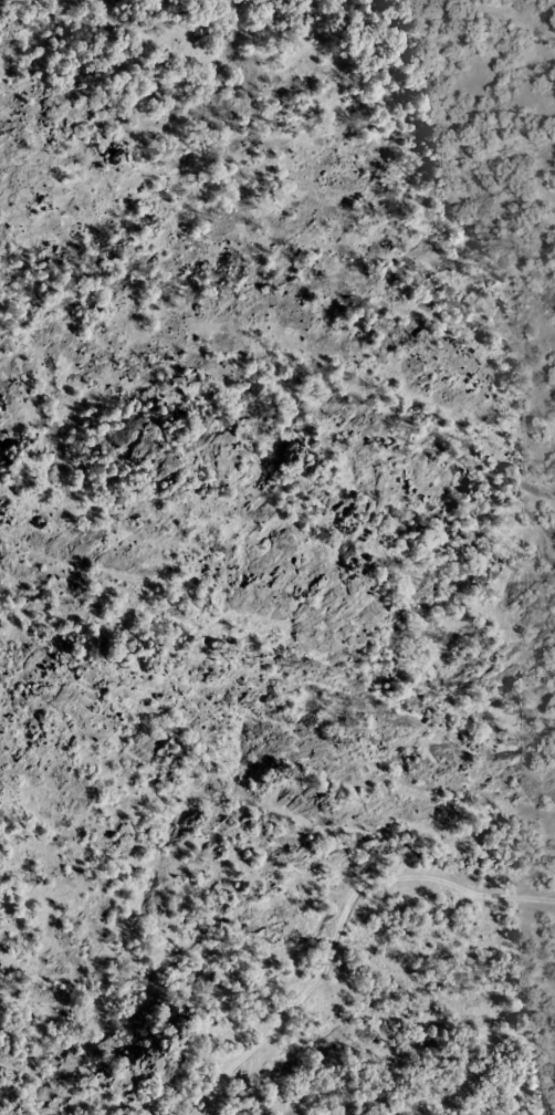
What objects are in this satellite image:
road: (343, 921)

